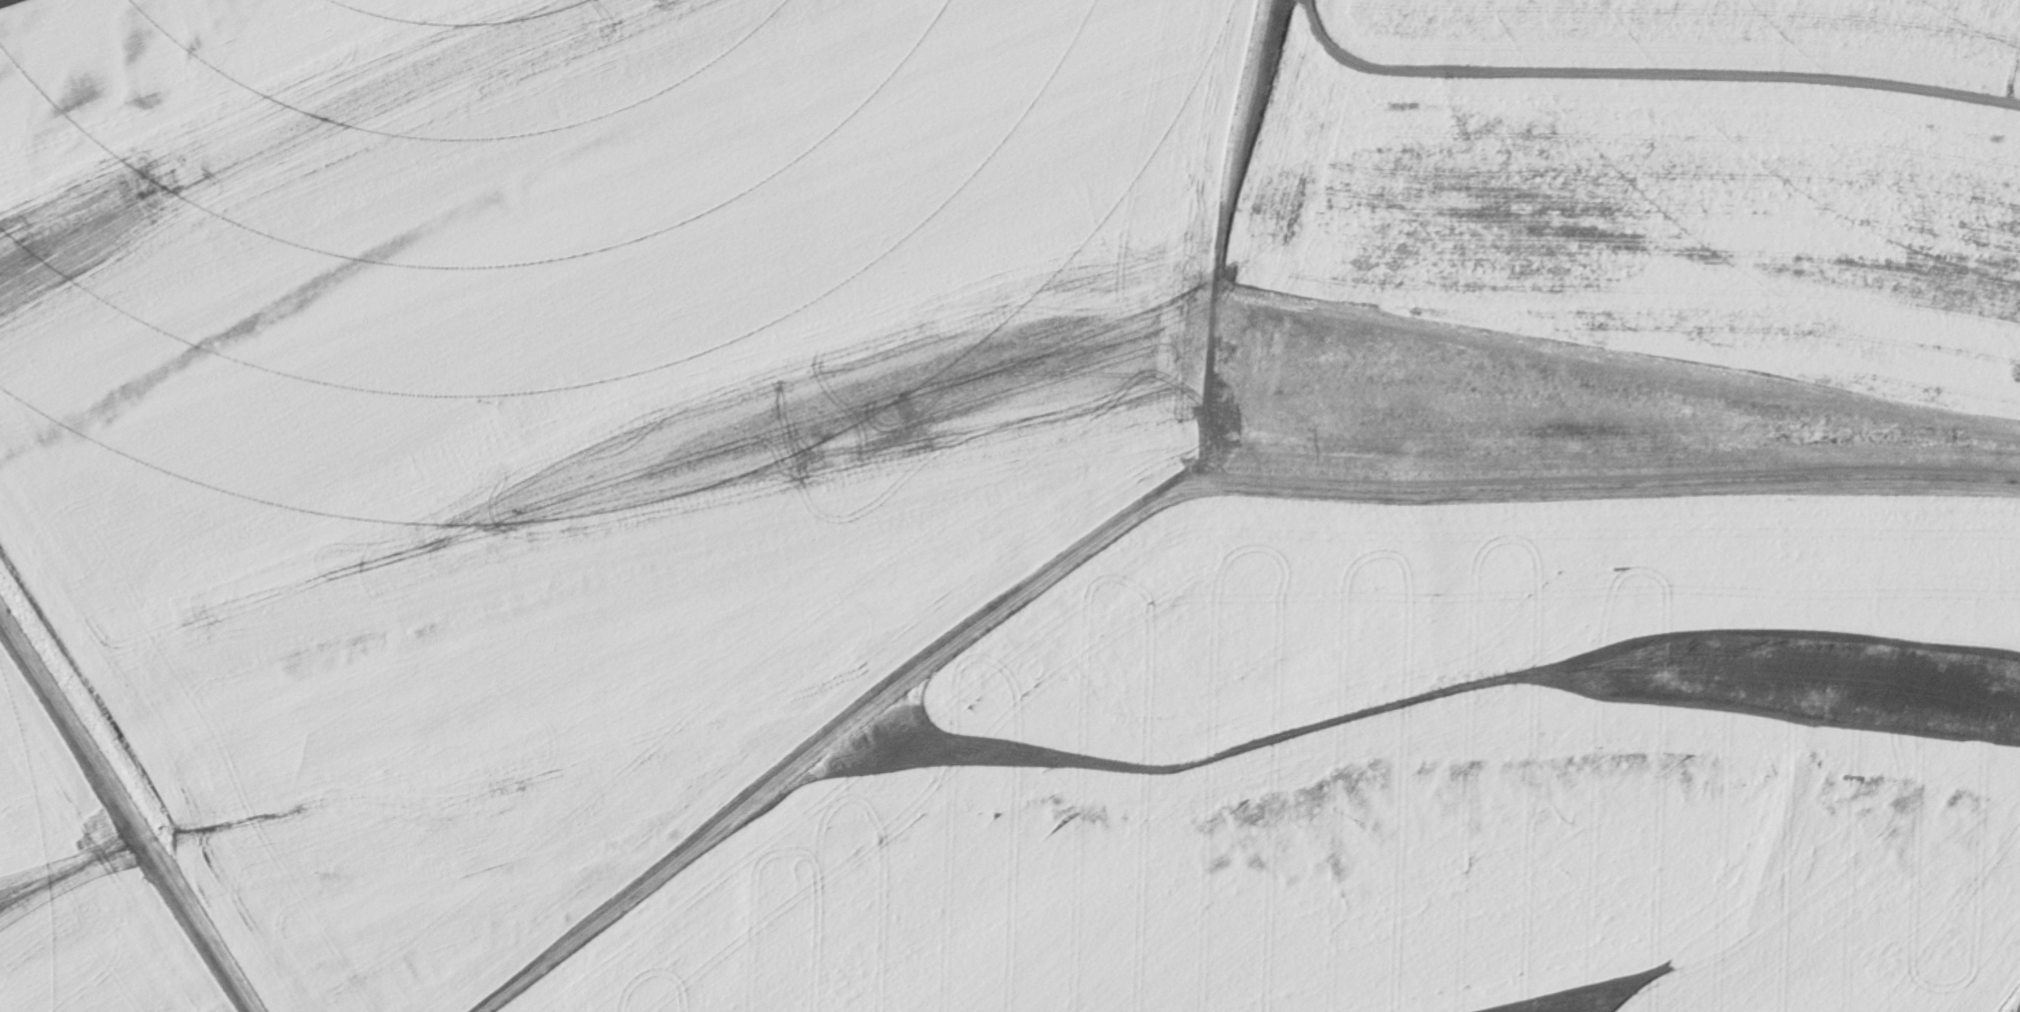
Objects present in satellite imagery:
road: (1643, 72)

